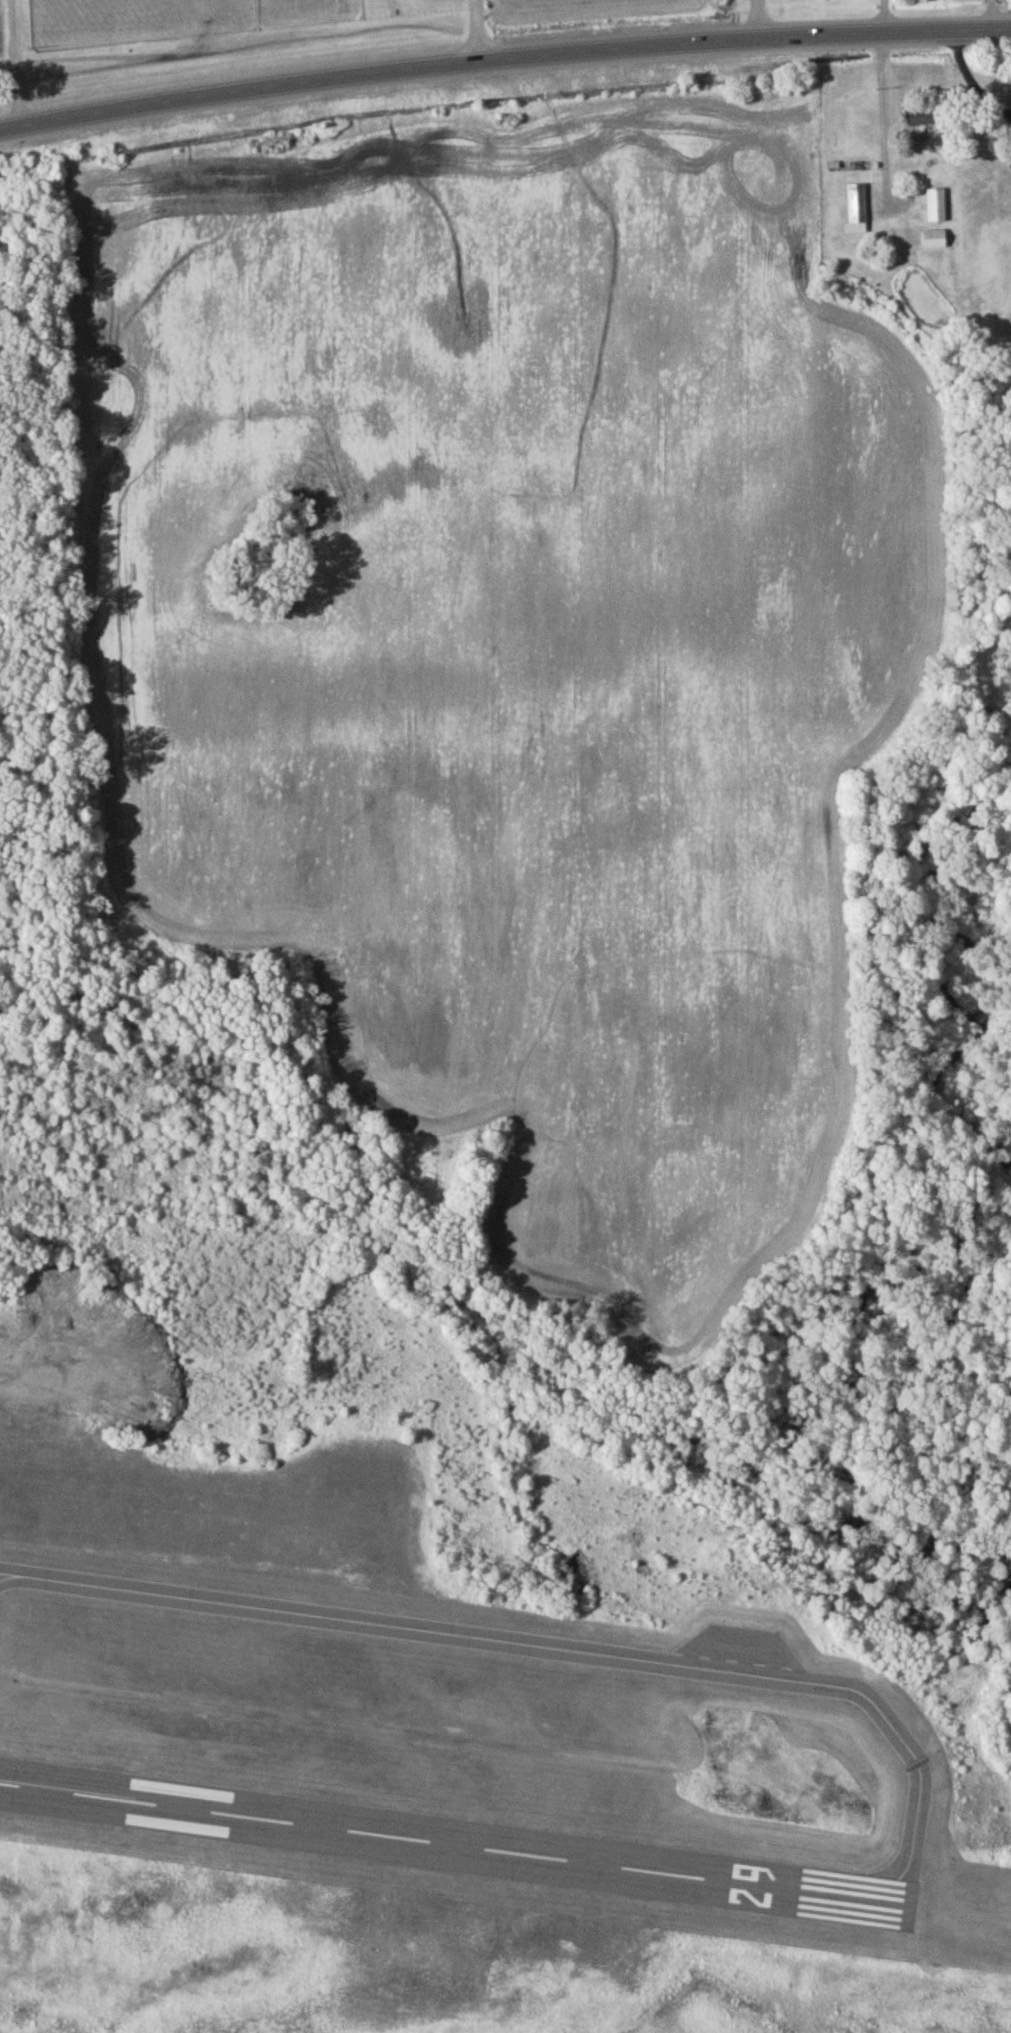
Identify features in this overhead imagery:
road: (991, 16)
road: (480, 32)
road: (503, 61)
road: (16, 64)
road: (975, 84)
building: (997, 95)
road: (881, 120)
building: (923, 128)
building: (935, 210)
building: (856, 214)
building: (933, 243)
airport taxiway: (548, 1651)
airport: (456, 1763)
airport runway: (451, 1850)

